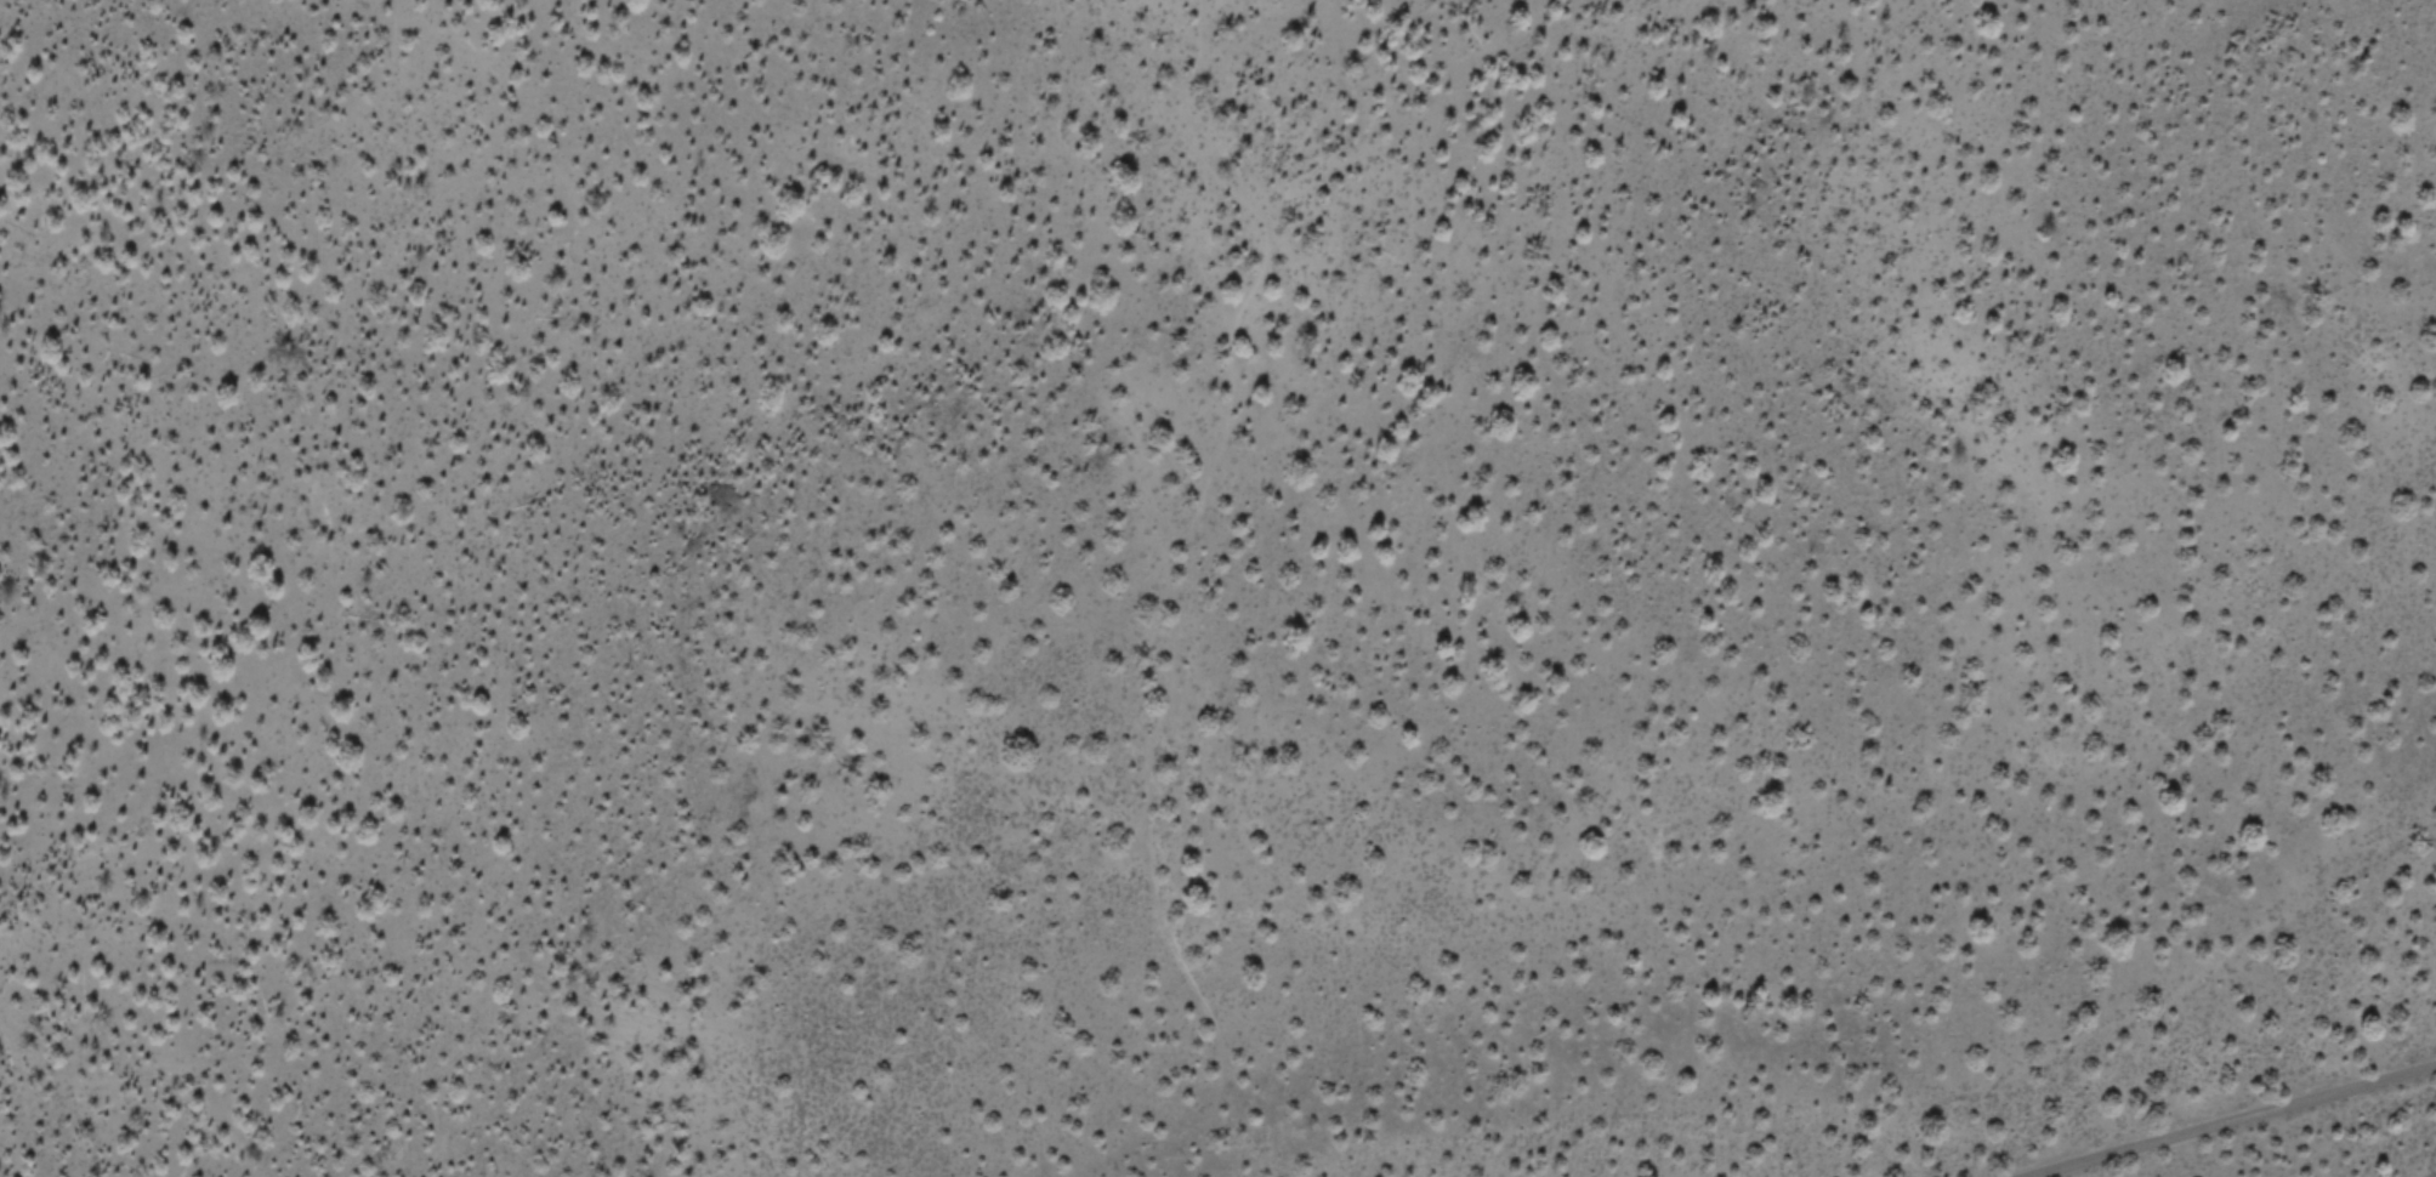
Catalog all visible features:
road: (2236, 1121)

